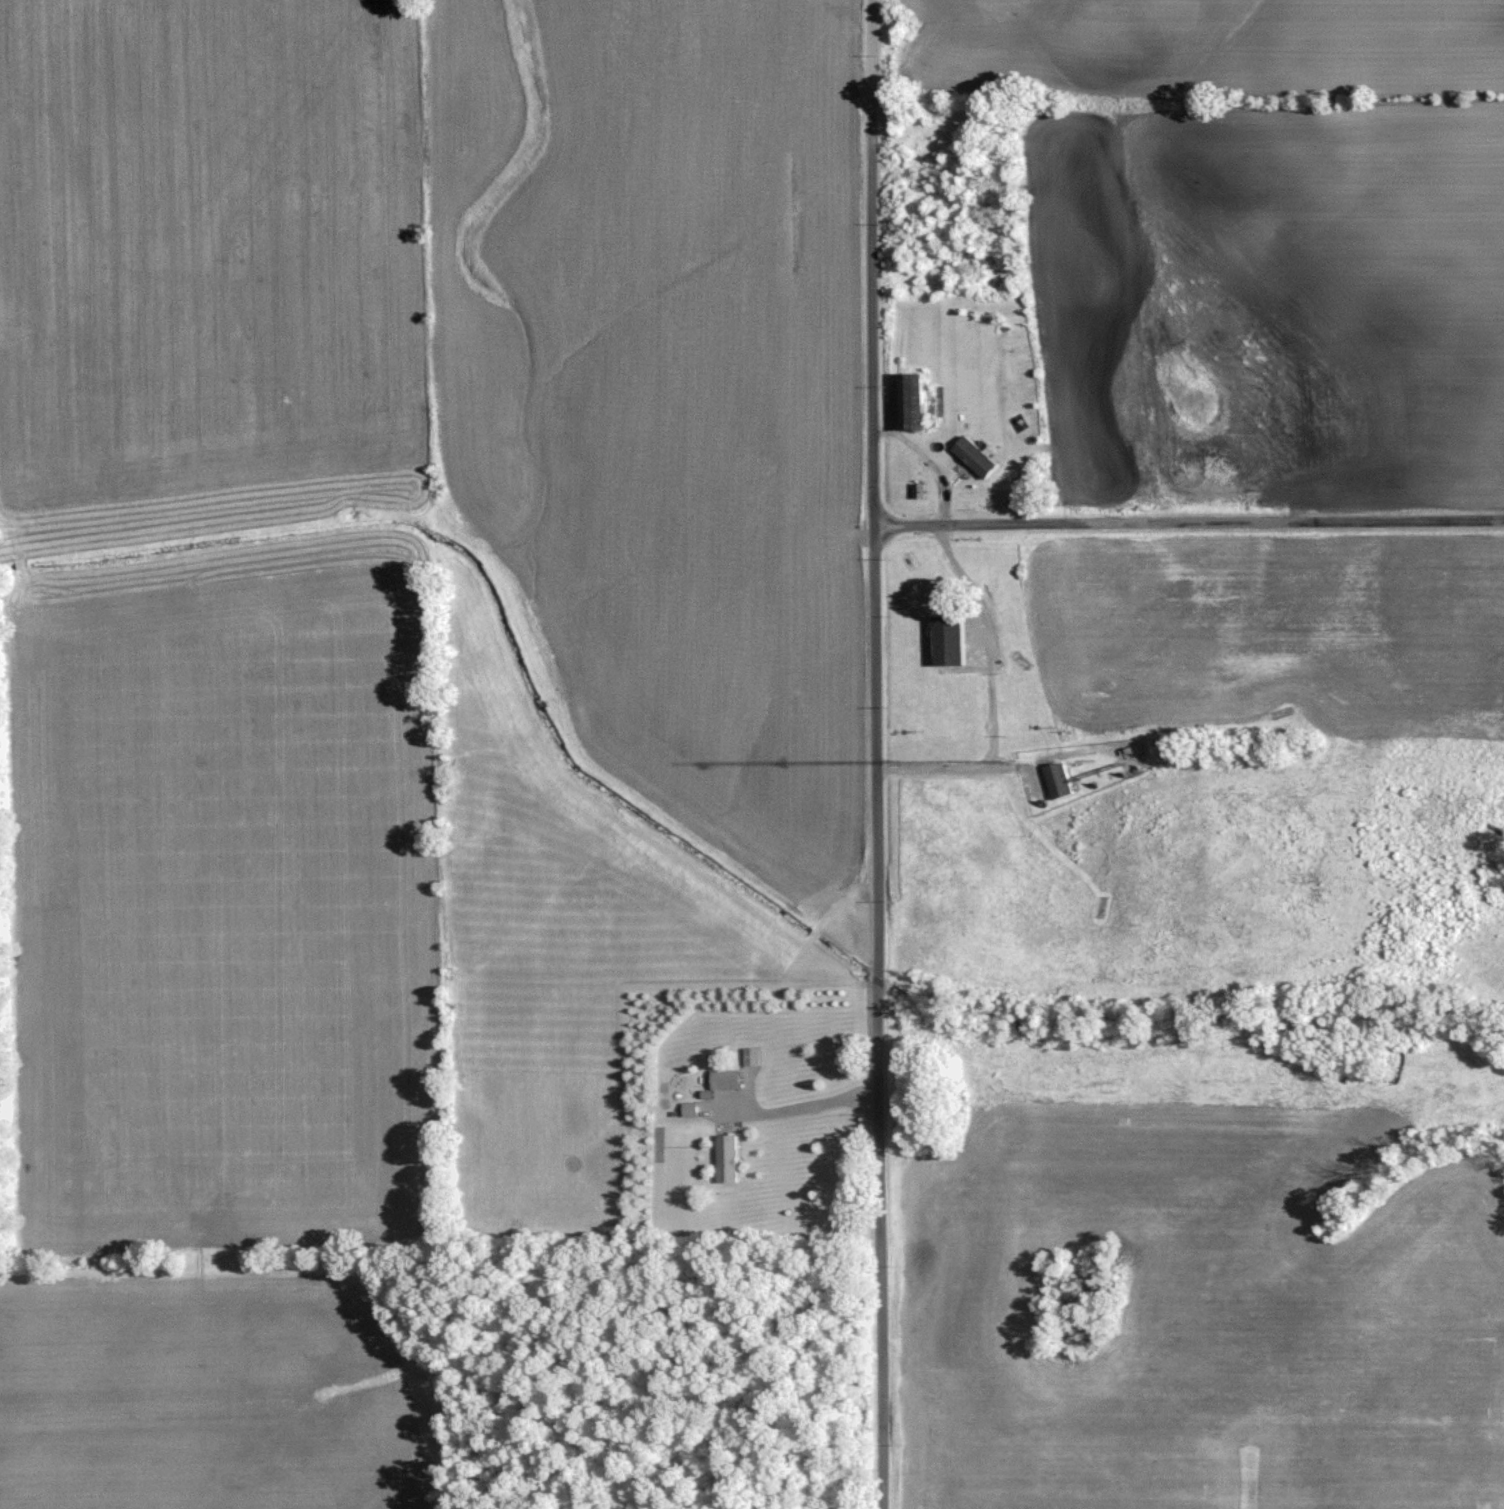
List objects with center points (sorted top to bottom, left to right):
crop: (1209, 38)
crop: (203, 262)
crop: (1334, 290)
crop: (661, 388)
building: (907, 399)
building: (974, 454)
road: (1187, 523)
crop: (1272, 634)
building: (945, 639)
road: (986, 641)
road: (873, 754)
road: (952, 767)
building: (1055, 776)
crop: (214, 905)
crop: (560, 964)
building: (750, 1053)
building: (723, 1076)
building: (688, 1106)
road: (803, 1106)
building: (726, 1155)

